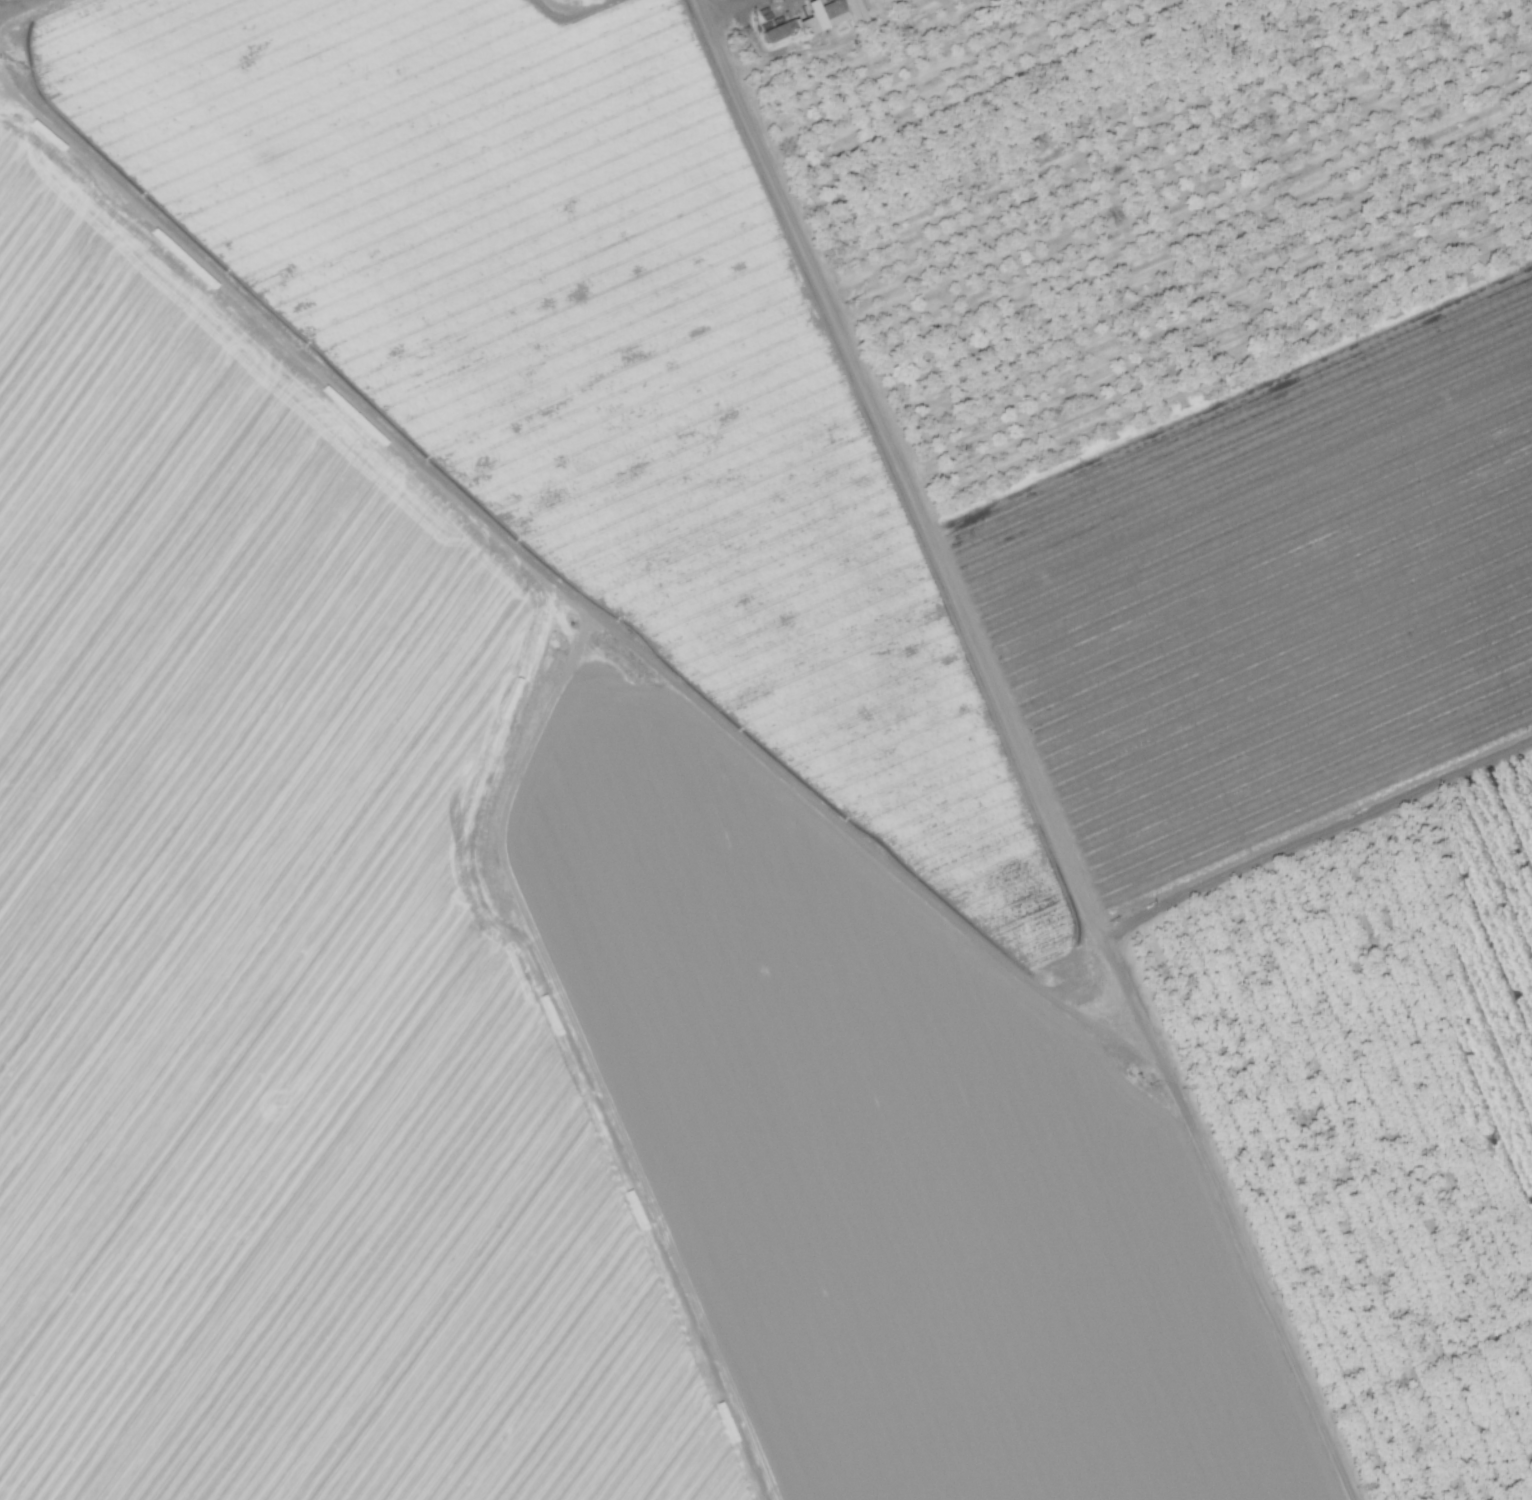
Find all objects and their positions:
road: (19, 8)
building: (852, 10)
building: (817, 16)
building: (774, 31)
road: (556, 586)
road: (1024, 751)
road: (1316, 834)
road: (582, 1060)

